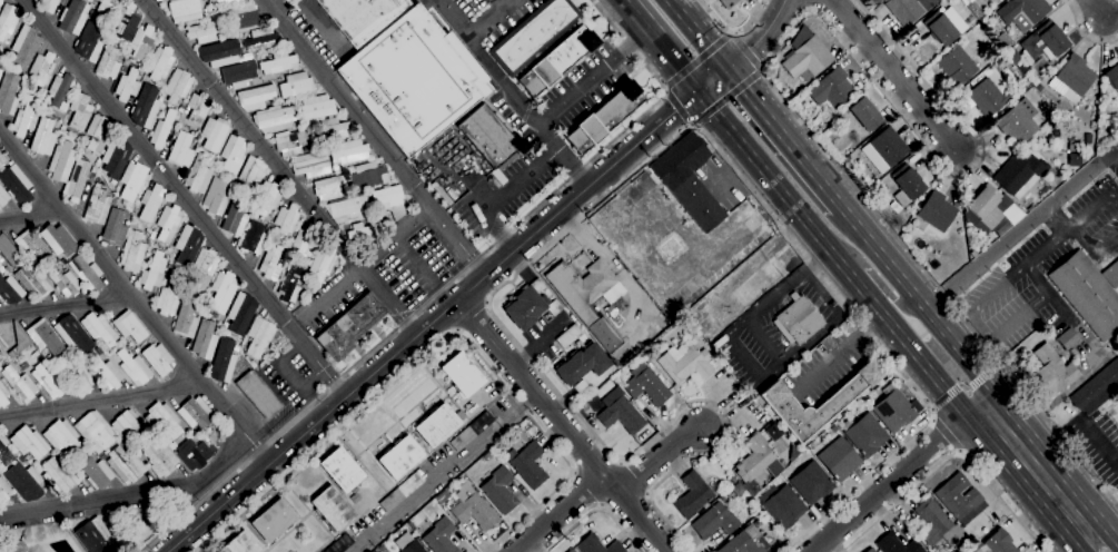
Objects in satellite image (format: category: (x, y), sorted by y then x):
building: (154, 0)
building: (158, 0)
building: (874, 0)
building: (967, 0)
building: (991, 0)
building: (0, 1)
building: (286, 1)
building: (222, 2)
road: (501, 3)
building: (728, 3)
building: (50, 6)
building: (908, 9)
road: (1096, 9)
building: (103, 10)
building: (184, 10)
building: (1022, 12)
building: (73, 17)
building: (244, 17)
building: (363, 17)
parking lot: (484, 17)
road: (489, 18)
building: (8, 19)
building: (125, 22)
road: (321, 24)
building: (944, 26)
building: (206, 30)
road: (732, 30)
road: (732, 31)
road: (703, 32)
road: (1082, 33)
building: (534, 34)
road: (730, 34)
road: (762, 36)
building: (260, 39)
building: (89, 41)
building: (141, 41)
building: (1045, 41)
building: (24, 46)
road: (662, 46)
building: (220, 52)
building: (247, 56)
building: (808, 59)
building: (557, 60)
building: (160, 62)
building: (278, 62)
building: (108, 63)
traffic signals: (732, 67)
building: (957, 67)
road: (762, 68)
building: (41, 69)
building: (1021, 69)
building: (0, 71)
building: (239, 73)
road: (893, 73)
road: (594, 76)
building: (1112, 77)
building: (976, 78)
building: (1072, 78)
building: (413, 79)
road: (768, 79)
building: (127, 85)
building: (178, 85)
building: (296, 85)
building: (831, 89)
building: (59, 90)
building: (9, 92)
traffic signals: (702, 93)
road: (512, 95)
building: (959, 95)
building: (989, 95)
building: (255, 97)
building: (145, 106)
building: (198, 106)
building: (317, 106)
building: (181, 108)
building: (80, 111)
building: (865, 114)
building: (26, 117)
building: (604, 117)
building: (299, 118)
building: (274, 119)
building: (815, 121)
building: (1018, 121)
building: (62, 127)
building: (308, 128)
building: (161, 129)
building: (330, 129)
building: (97, 132)
building: (214, 132)
building: (42, 136)
road: (376, 136)
road: (786, 136)
building: (489, 137)
building: (1087, 138)
building: (289, 142)
road: (1116, 146)
building: (884, 149)
road: (1116, 149)
building: (180, 150)
building: (347, 151)
building: (234, 152)
building: (116, 156)
building: (2, 159)
building: (1074, 159)
building: (679, 160)
building: (61, 161)
building: (310, 164)
road: (466, 164)
road: (280, 167)
building: (93, 169)
road: (732, 171)
building: (200, 172)
building: (251, 172)
building: (1019, 174)
building: (367, 175)
building: (77, 179)
building: (132, 180)
building: (17, 184)
road: (774, 184)
building: (907, 185)
building: (330, 187)
road: (487, 189)
road: (185, 196)
building: (216, 196)
road: (497, 196)
building: (3, 197)
building: (269, 197)
building: (388, 199)
building: (113, 201)
building: (150, 201)
building: (697, 201)
building: (98, 206)
building: (986, 206)
building: (348, 207)
building: (937, 211)
road: (27, 214)
building: (235, 217)
building: (286, 218)
building: (168, 223)
building: (268, 227)
road: (1020, 227)
road: (1074, 227)
building: (115, 228)
road: (1068, 228)
building: (363, 230)
building: (152, 235)
road: (1056, 237)
building: (254, 238)
building: (58, 240)
building: (304, 241)
road: (587, 243)
building: (31, 245)
building: (188, 245)
road: (544, 248)
building: (9, 250)
building: (132, 252)
building: (972, 253)
road: (366, 260)
building: (1108, 260)
building: (321, 263)
building: (270, 264)
building: (169, 267)
building: (205, 267)
building: (7, 268)
building: (1, 269)
building: (154, 272)
building: (87, 274)
building: (62, 279)
building: (33, 283)
building: (290, 284)
road: (818, 284)
road: (857, 284)
road: (448, 285)
building: (10, 289)
building: (222, 290)
building: (1089, 292)
building: (169, 296)
building: (586, 297)
road: (136, 298)
road: (896, 299)
road: (921, 303)
road: (66, 304)
building: (530, 305)
road: (448, 306)
road: (1059, 307)
building: (240, 313)
road: (473, 315)
building: (186, 317)
building: (798, 321)
building: (225, 324)
building: (129, 326)
building: (349, 326)
building: (99, 328)
building: (73, 334)
building: (258, 335)
building: (568, 335)
building: (44, 336)
road: (990, 338)
building: (1068, 338)
building: (205, 339)
road: (762, 339)
building: (19, 341)
road: (441, 342)
building: (236, 347)
road: (882, 347)
road: (840, 351)
road: (743, 356)
building: (0, 358)
building: (158, 358)
road: (918, 358)
building: (222, 361)
building: (250, 362)
building: (582, 363)
building: (687, 365)
building: (133, 367)
building: (0, 368)
building: (107, 372)
building: (1053, 372)
building: (461, 373)
road: (983, 373)
building: (78, 375)
building: (48, 381)
building: (20, 384)
building: (646, 385)
building: (581, 387)
road: (963, 387)
building: (1097, 388)
building: (258, 394)
building: (3, 395)
road: (944, 396)
road: (102, 401)
building: (778, 402)
road: (521, 405)
building: (584, 406)
building: (893, 408)
building: (195, 413)
building: (459, 415)
building: (621, 415)
building: (164, 418)
building: (128, 424)
building: (436, 424)
road: (562, 425)
building: (833, 428)
building: (95, 431)
building: (471, 431)
building: (531, 431)
road: (659, 434)
building: (863, 434)
road: (946, 435)
building: (62, 437)
building: (29, 442)
building: (172, 445)
building: (4, 452)
building: (17, 453)
building: (194, 454)
building: (399, 456)
road: (949, 457)
building: (160, 459)
building: (839, 459)
road: (659, 461)
building: (756, 462)
building: (527, 464)
building: (125, 465)
building: (38, 469)
road: (1035, 469)
building: (342, 470)
building: (95, 471)
building: (59, 475)
building: (733, 479)
road: (901, 480)
building: (26, 481)
building: (811, 482)
road: (431, 485)
building: (738, 489)
building: (499, 490)
road: (585, 490)
building: (3, 491)
building: (402, 492)
building: (693, 494)
road: (131, 495)
building: (355, 495)
building: (443, 497)
building: (960, 499)
building: (783, 506)
building: (473, 507)
building: (332, 509)
road: (596, 510)
road: (558, 512)
road: (1102, 519)
building: (274, 520)
building: (714, 521)
building: (937, 523)
road: (1102, 534)
building: (95, 535)
building: (439, 536)
building: (745, 541)
building: (964, 542)
building: (1000, 542)
road: (1087, 542)
building: (240, 543)
building: (408, 543)
building: (339, 544)
building: (897, 544)
building: (600, 545)
building: (14, 548)
building: (385, 550)
building: (571, 550)
building: (870, 550)
building: (375, 551)

